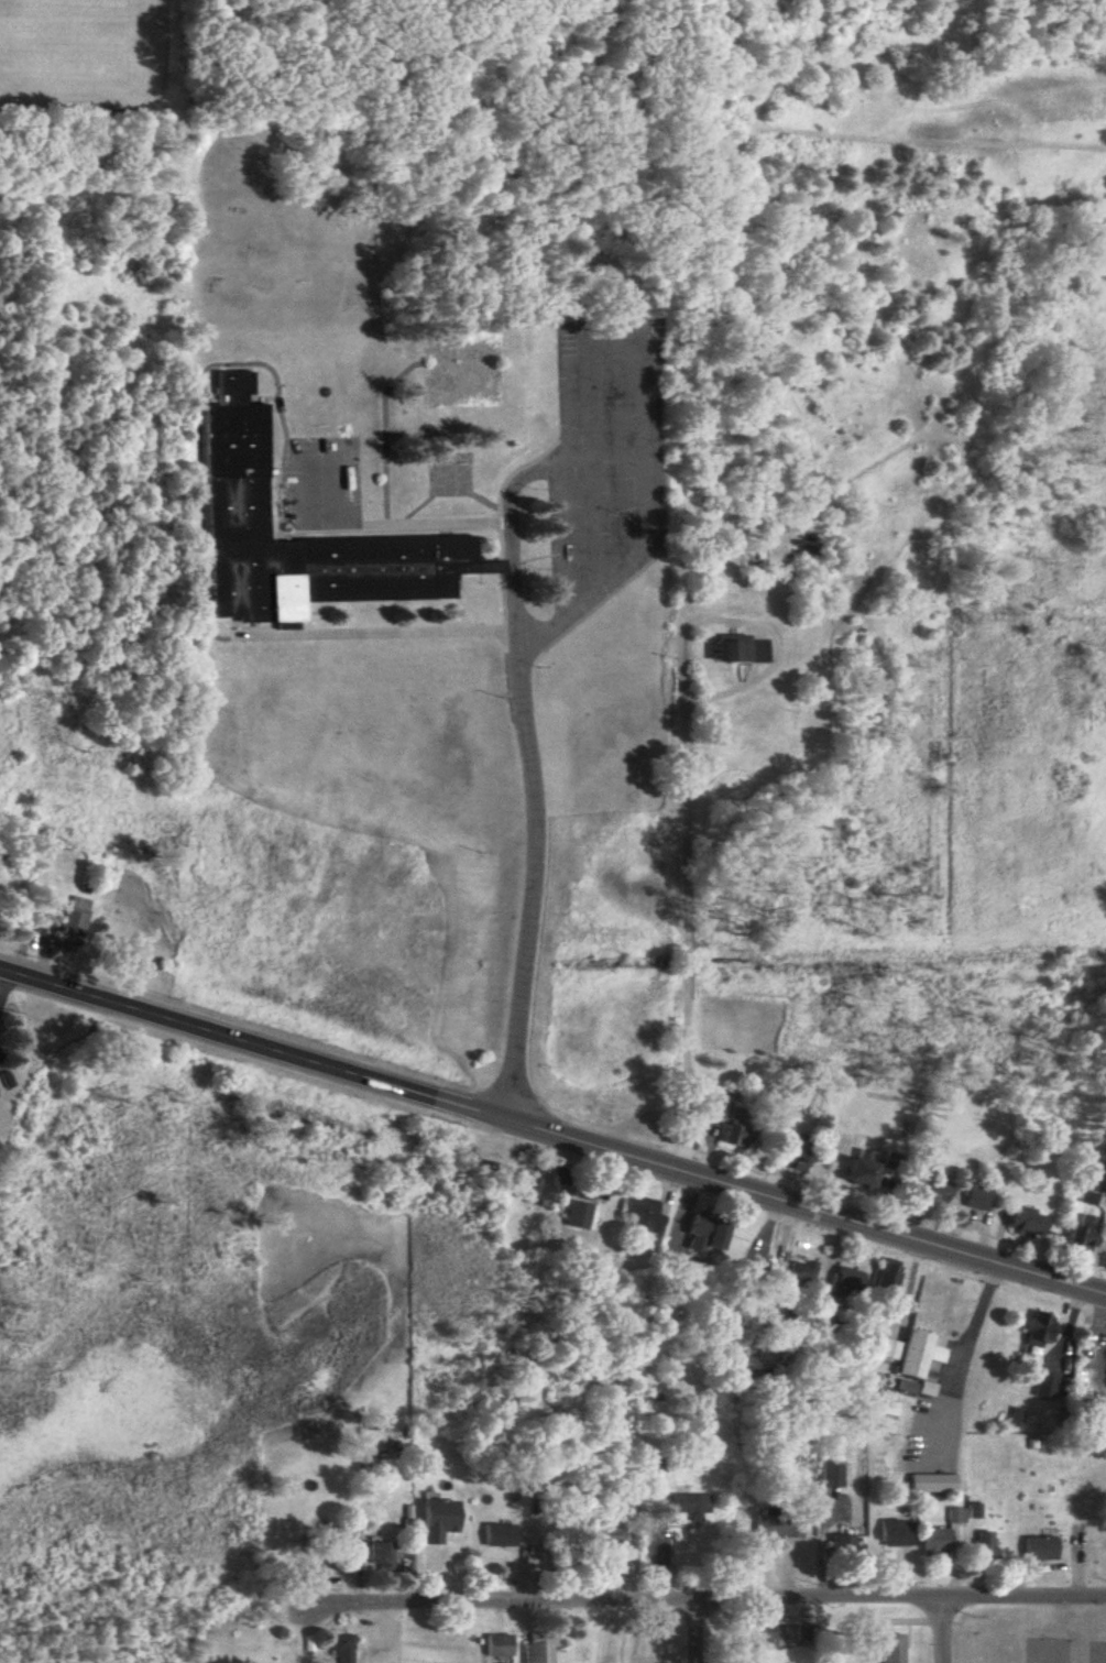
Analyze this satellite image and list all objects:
road: (339, 89)
park: (429, 162)
road: (615, 341)
building: (240, 469)
road: (592, 524)
road: (558, 538)
road: (760, 609)
road: (512, 613)
building: (740, 648)
building: (70, 926)
road: (691, 939)
building: (730, 1122)
road: (552, 1133)
road: (686, 1147)
road: (699, 1151)
building: (858, 1171)
building: (548, 1180)
building: (933, 1186)
building: (975, 1196)
road: (906, 1212)
building: (643, 1213)
building: (577, 1214)
building: (1025, 1221)
building: (703, 1232)
building: (800, 1273)
building: (844, 1281)
building: (1038, 1327)
building: (887, 1348)
road: (967, 1350)
building: (919, 1352)
building: (1044, 1385)
building: (374, 1438)
building: (831, 1473)
building: (931, 1481)
building: (691, 1503)
building: (438, 1519)
building: (778, 1525)
building: (610, 1530)
building: (895, 1532)
building: (500, 1534)
building: (934, 1540)
building: (841, 1545)
building: (1039, 1547)
building: (381, 1552)
road: (700, 1602)
road: (948, 1631)
road: (703, 1632)
building: (499, 1644)
building: (343, 1648)
building: (538, 1648)
building: (893, 1648)

